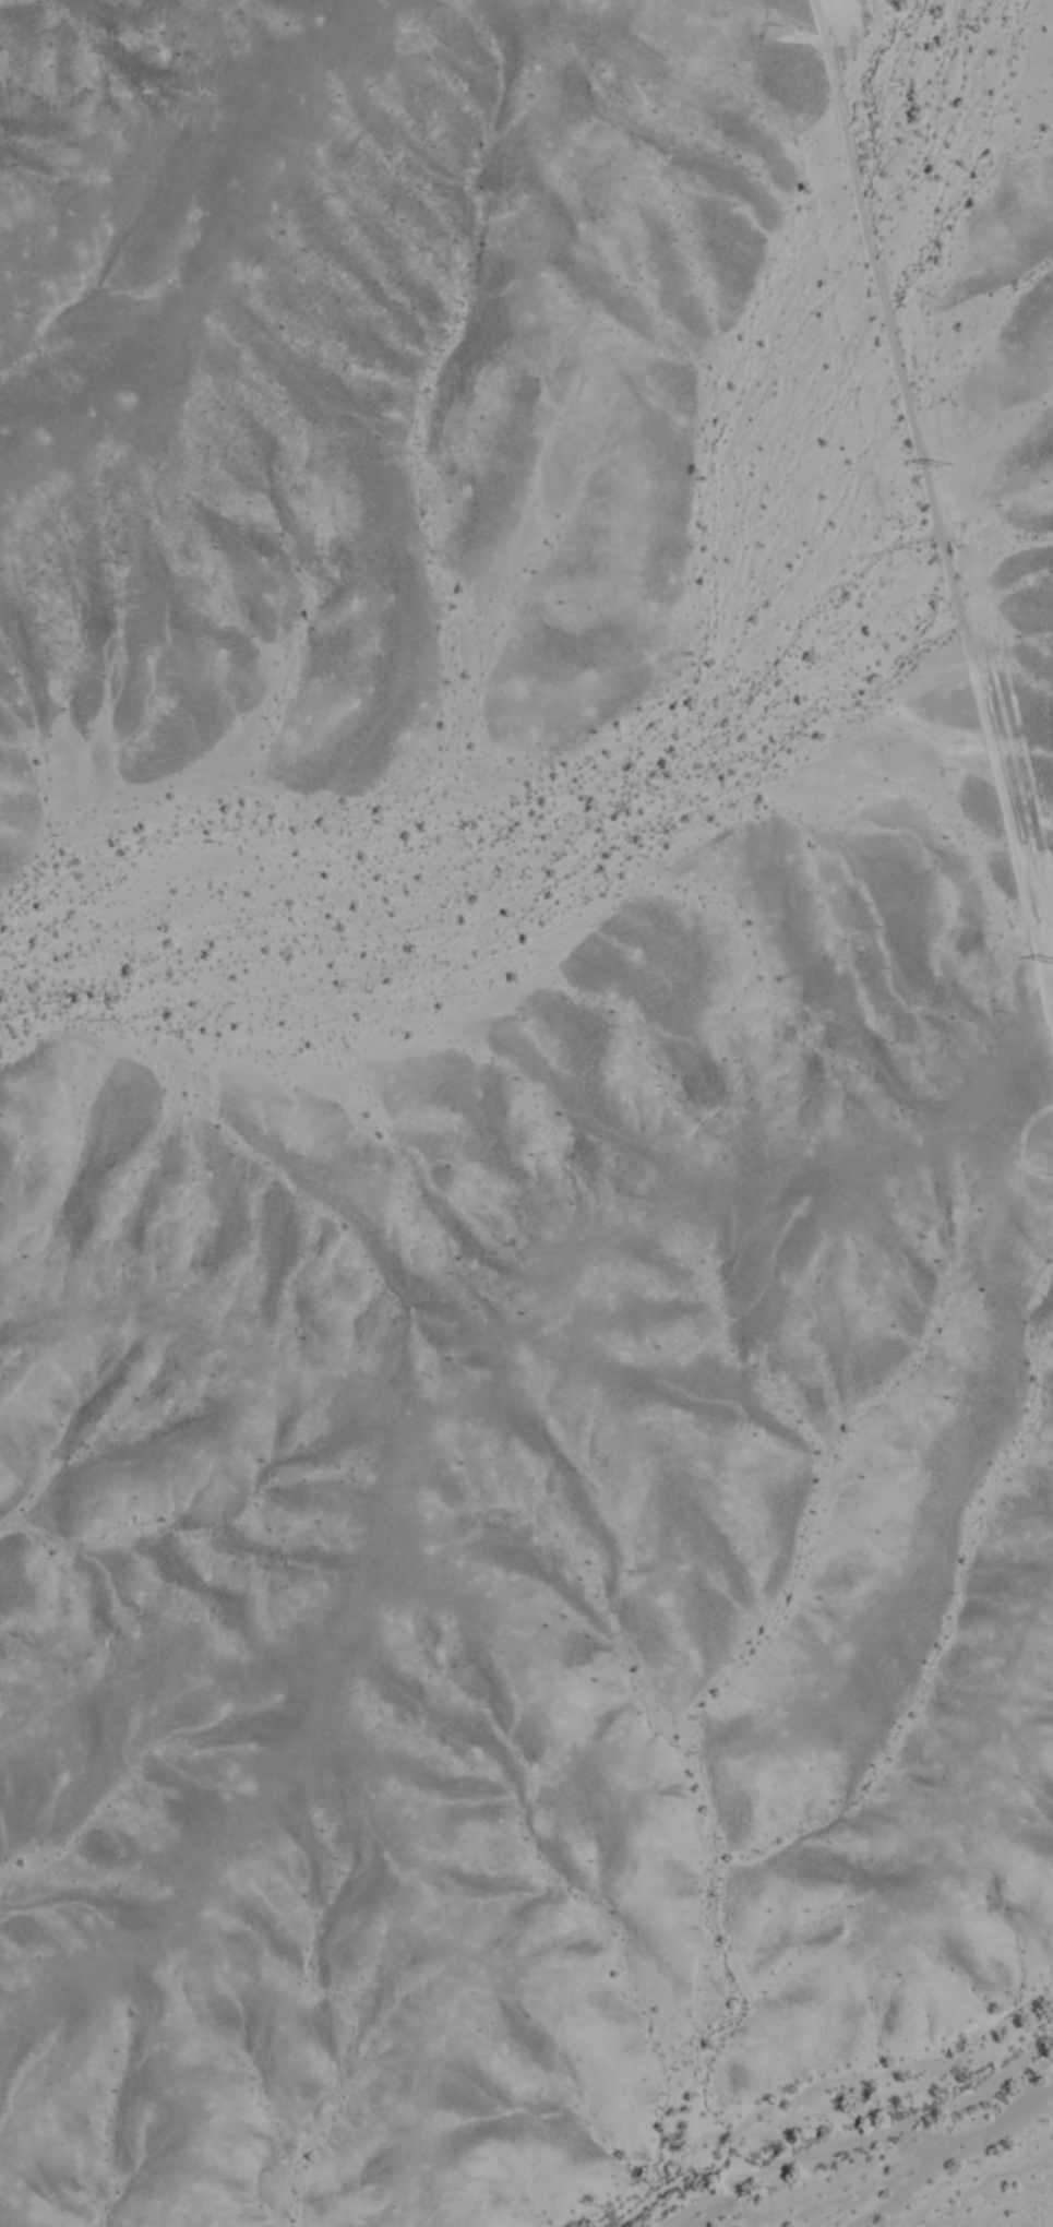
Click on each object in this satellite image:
power tower: (949, 468)

